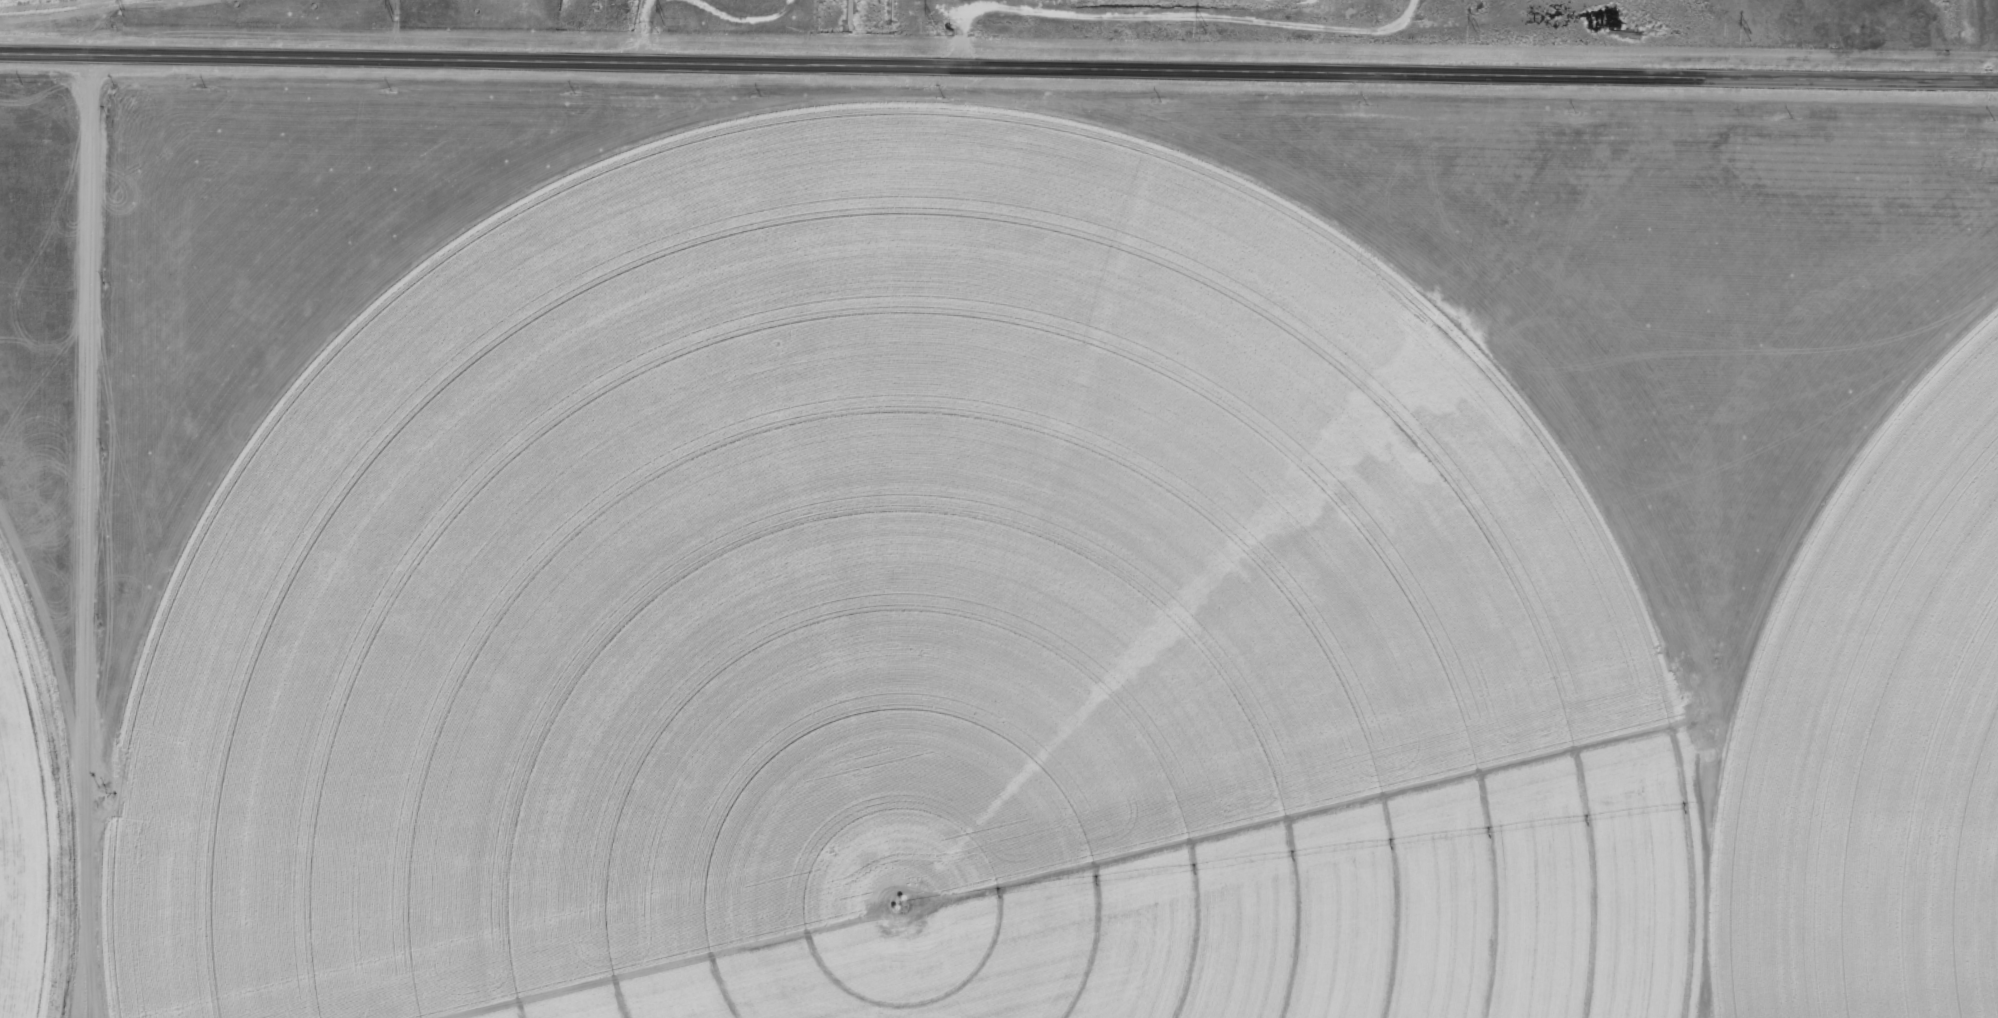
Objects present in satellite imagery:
road: (999, 66)
road: (88, 536)

